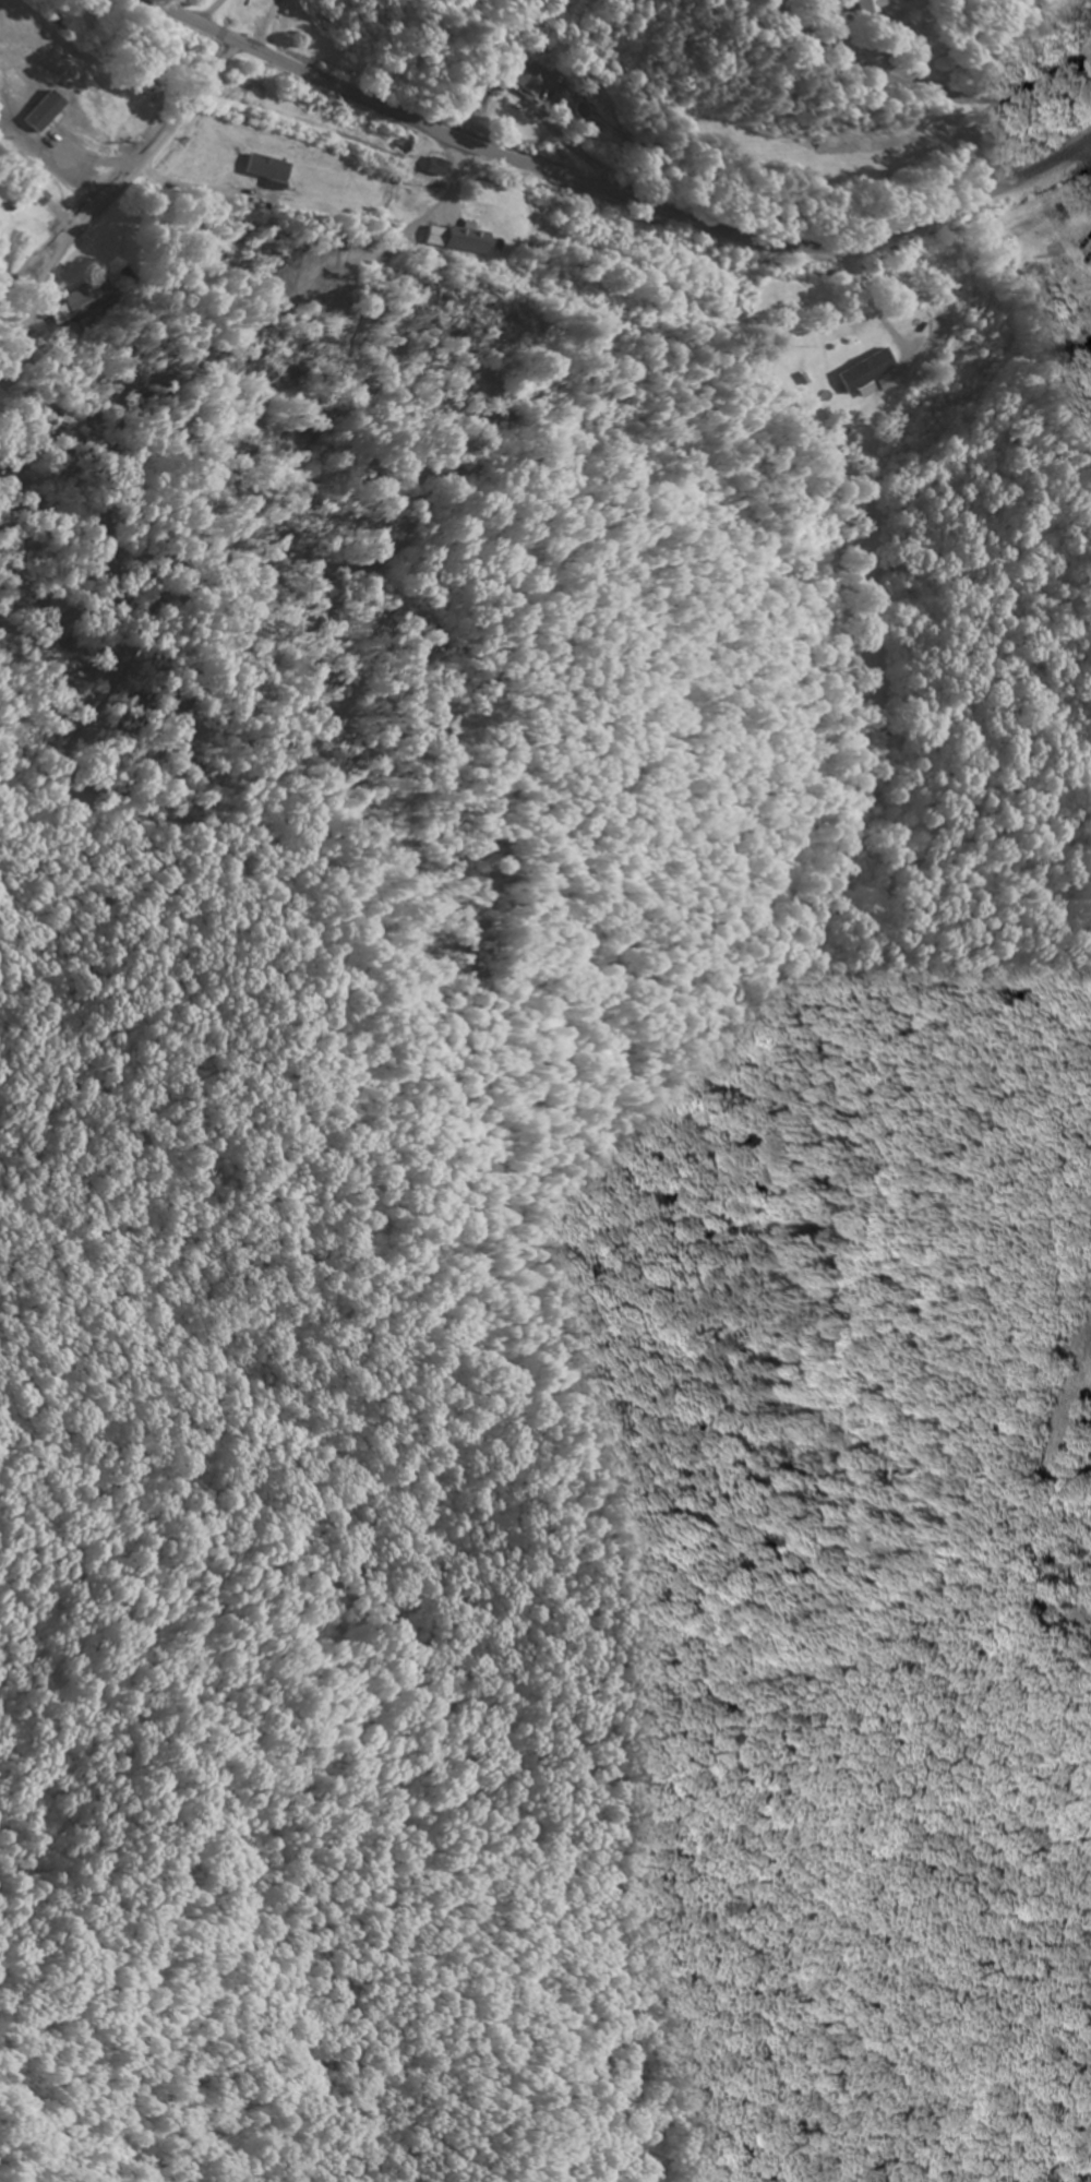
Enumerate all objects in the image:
road: (1087, 2)
building: (877, 8)
building: (528, 81)
road: (898, 109)
road: (1086, 152)
road: (613, 193)
road: (111, 201)
building: (456, 242)
building: (9, 252)
building: (76, 303)
road: (732, 345)
building: (865, 373)

